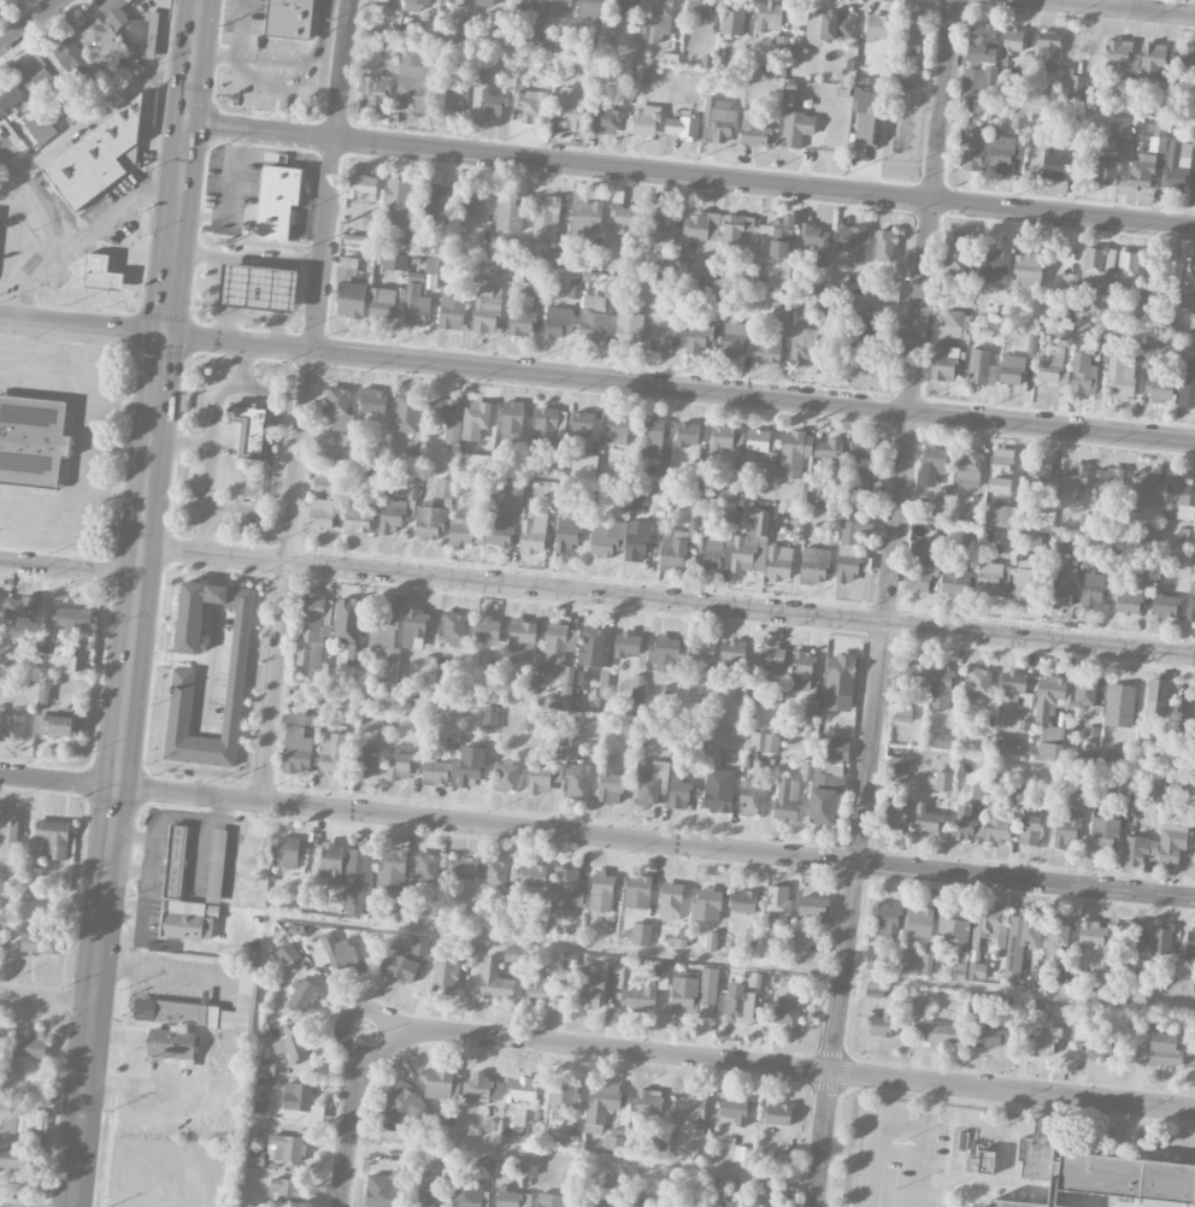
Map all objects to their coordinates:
building: (381, 0)
building: (418, 2)
building: (454, 2)
building: (484, 4)
building: (519, 6)
road: (1126, 6)
building: (557, 7)
building: (626, 7)
building: (699, 8)
building: (114, 12)
building: (590, 12)
building: (769, 16)
building: (732, 17)
building: (290, 18)
building: (659, 20)
road: (29, 22)
building: (428, 25)
building: (829, 25)
building: (879, 27)
building: (640, 28)
building: (912, 30)
building: (143, 36)
building: (96, 37)
building: (1013, 40)
building: (779, 42)
building: (982, 43)
building: (597, 48)
building: (1048, 51)
building: (1120, 55)
building: (1187, 57)
building: (72, 59)
building: (1152, 59)
building: (483, 72)
building: (641, 73)
building: (979, 78)
building: (905, 80)
building: (414, 84)
building: (375, 86)
building: (47, 88)
building: (1076, 89)
building: (1125, 95)
building: (10, 96)
building: (477, 99)
building: (454, 102)
building: (493, 106)
building: (530, 106)
building: (572, 107)
building: (983, 107)
building: (869, 118)
building: (607, 119)
building: (718, 119)
building: (643, 120)
traffic signals: (186, 124)
building: (681, 126)
building: (40, 128)
building: (796, 128)
building: (1120, 129)
road: (75, 133)
building: (1155, 133)
building: (754, 134)
building: (1193, 135)
building: (971, 147)
building: (1005, 152)
building: (98, 157)
building: (1054, 164)
building: (1176, 166)
road: (181, 167)
building: (1107, 169)
building: (1141, 171)
road: (689, 177)
building: (363, 188)
building: (435, 200)
building: (471, 200)
road: (235, 202)
building: (278, 202)
building: (398, 202)
road: (123, 207)
building: (508, 212)
building: (546, 217)
building: (585, 218)
building: (625, 220)
building: (661, 225)
building: (700, 226)
road: (66, 229)
building: (734, 232)
building: (777, 237)
building: (853, 242)
building: (817, 243)
building: (884, 246)
building: (956, 254)
road: (248, 257)
building: (553, 257)
building: (395, 261)
building: (994, 265)
building: (1129, 265)
building: (434, 266)
building: (763, 267)
building: (1028, 270)
building: (702, 271)
building: (1099, 272)
building: (100, 273)
building: (1069, 282)
road: (211, 288)
building: (259, 288)
building: (575, 288)
building: (610, 288)
building: (643, 289)
building: (888, 290)
building: (1188, 292)
building: (713, 295)
building: (351, 300)
building: (382, 305)
building: (416, 306)
building: (1142, 307)
building: (452, 308)
building: (487, 310)
building: (866, 313)
building: (522, 314)
road: (253, 316)
building: (593, 318)
building: (785, 318)
building: (558, 322)
building: (950, 324)
road: (82, 328)
building: (628, 329)
traffic signals: (165, 337)
building: (660, 338)
building: (697, 338)
building: (734, 338)
building: (1099, 343)
building: (801, 346)
building: (766, 347)
building: (1152, 352)
building: (1134, 353)
building: (1053, 357)
road: (59, 363)
building: (943, 364)
building: (982, 367)
building: (1011, 369)
building: (1083, 373)
building: (1120, 376)
building: (1187, 383)
building: (1159, 389)
road: (679, 390)
building: (372, 401)
building: (339, 408)
road: (212, 412)
building: (406, 413)
building: (476, 420)
building: (447, 422)
building: (511, 423)
building: (617, 425)
building: (252, 428)
building: (581, 429)
building: (544, 430)
building: (651, 434)
building: (687, 434)
building: (722, 437)
building: (31, 440)
building: (757, 440)
road: (86, 446)
building: (341, 448)
building: (830, 448)
building: (795, 452)
building: (864, 453)
building: (935, 459)
building: (481, 463)
building: (770, 465)
building: (969, 470)
building: (1001, 470)
building: (1041, 471)
building: (376, 472)
building: (583, 473)
building: (661, 473)
building: (1073, 477)
building: (1109, 478)
road: (294, 479)
building: (325, 482)
building: (697, 483)
building: (443, 488)
building: (1142, 488)
building: (1178, 497)
road: (205, 499)
building: (516, 500)
building: (641, 500)
building: (323, 513)
building: (1002, 516)
building: (392, 517)
building: (1117, 517)
building: (358, 518)
building: (1044, 518)
building: (429, 522)
building: (499, 529)
building: (465, 531)
building: (534, 532)
building: (566, 532)
building: (1148, 532)
building: (1185, 536)
building: (607, 538)
building: (636, 542)
building: (1073, 546)
building: (672, 549)
building: (848, 550)
building: (708, 554)
building: (778, 561)
building: (814, 564)
building: (922, 565)
road: (69, 567)
building: (955, 579)
building: (993, 579)
building: (1024, 584)
building: (1061, 585)
building: (1091, 590)
road: (667, 600)
building: (1190, 601)
road: (887, 603)
building: (1128, 603)
building: (1164, 603)
building: (20, 611)
building: (347, 620)
building: (72, 622)
building: (416, 625)
building: (453, 629)
building: (313, 630)
building: (382, 631)
building: (487, 631)
building: (522, 637)
building: (626, 644)
building: (591, 646)
road: (213, 648)
building: (558, 648)
building: (700, 649)
building: (664, 652)
building: (731, 654)
building: (355, 655)
building: (60, 658)
building: (769, 660)
building: (801, 671)
building: (911, 675)
building: (567, 681)
building: (978, 682)
building: (838, 683)
building: (1012, 684)
building: (940, 687)
building: (45, 689)
building: (741, 690)
building: (1084, 693)
building: (636, 694)
building: (1155, 696)
building: (179, 702)
building: (1119, 705)
building: (418, 708)
building: (902, 712)
building: (1185, 712)
building: (489, 717)
building: (59, 724)
building: (12, 726)
building: (944, 740)
building: (766, 742)
building: (1050, 742)
building: (295, 744)
building: (335, 753)
building: (1118, 754)
building: (365, 764)
building: (399, 765)
building: (470, 767)
building: (899, 767)
road: (119, 772)
building: (436, 772)
building: (507, 777)
building: (543, 777)
building: (577, 781)
building: (649, 781)
building: (610, 782)
building: (940, 782)
building: (826, 783)
building: (1119, 783)
building: (718, 790)
building: (977, 791)
building: (678, 793)
building: (752, 796)
building: (787, 799)
building: (1047, 800)
building: (896, 809)
building: (925, 819)
building: (965, 823)
building: (996, 824)
building: (1066, 826)
building: (1029, 830)
building: (7, 831)
building: (1103, 834)
road: (133, 836)
road: (596, 837)
building: (49, 840)
building: (1171, 840)
building: (1138, 848)
building: (287, 853)
road: (149, 856)
building: (1194, 861)
building: (176, 864)
building: (331, 864)
building: (216, 866)
building: (425, 867)
building: (463, 869)
building: (392, 870)
road: (128, 873)
building: (496, 875)
building: (532, 876)
building: (358, 878)
building: (601, 890)
building: (637, 891)
building: (566, 893)
building: (670, 900)
building: (743, 901)
building: (776, 902)
building: (312, 903)
building: (706, 903)
road: (125, 905)
building: (24, 909)
building: (812, 909)
building: (213, 912)
building: (388, 912)
building: (887, 919)
building: (919, 923)
building: (953, 925)
building: (0, 934)
building: (641, 934)
building: (1056, 934)
building: (1096, 935)
building: (1134, 936)
building: (1161, 938)
building: (750, 940)
building: (1190, 940)
building: (711, 941)
building: (1020, 942)
building: (40, 943)
building: (419, 946)
building: (873, 953)
building: (287, 954)
building: (339, 954)
building: (514, 954)
building: (471, 955)
building: (567, 960)
building: (926, 962)
building: (398, 965)
building: (661, 970)
building: (1140, 975)
building: (445, 976)
building: (753, 978)
building: (1099, 978)
road: (164, 979)
building: (494, 982)
building: (540, 987)
building: (589, 988)
building: (876, 989)
building: (707, 993)
building: (683, 994)
building: (302, 996)
building: (641, 997)
road: (47, 999)
building: (737, 1003)
building: (922, 1003)
building: (785, 1011)
road: (352, 1012)
building: (195, 1013)
building: (1150, 1018)
building: (881, 1024)
building: (940, 1034)
building: (993, 1034)
building: (1046, 1036)
building: (292, 1043)
building: (1099, 1044)
building: (172, 1046)
building: (29, 1047)
building: (1162, 1050)
building: (266, 1066)
road: (789, 1067)
building: (7, 1073)
building: (441, 1083)
building: (482, 1089)
building: (522, 1090)
building: (564, 1097)
building: (298, 1100)
building: (647, 1102)
building: (408, 1106)
building: (601, 1106)
building: (261, 1107)
building: (734, 1109)
building: (689, 1112)
building: (778, 1113)
road: (348, 1120)
building: (8, 1123)
building: (960, 1138)
building: (616, 1140)
road: (924, 1144)
building: (285, 1148)
building: (741, 1153)
building: (257, 1159)
building: (14, 1160)
building: (979, 1161)
building: (526, 1166)
building: (1100, 1174)
building: (771, 1185)
building: (697, 1189)
building: (285, 1191)
building: (383, 1191)
building: (426, 1191)
building: (469, 1194)
building: (513, 1199)
building: (553, 1200)
building: (594, 1201)
building: (635, 1201)
building: (723, 1203)
building: (677, 1205)
building: (985, 1206)

